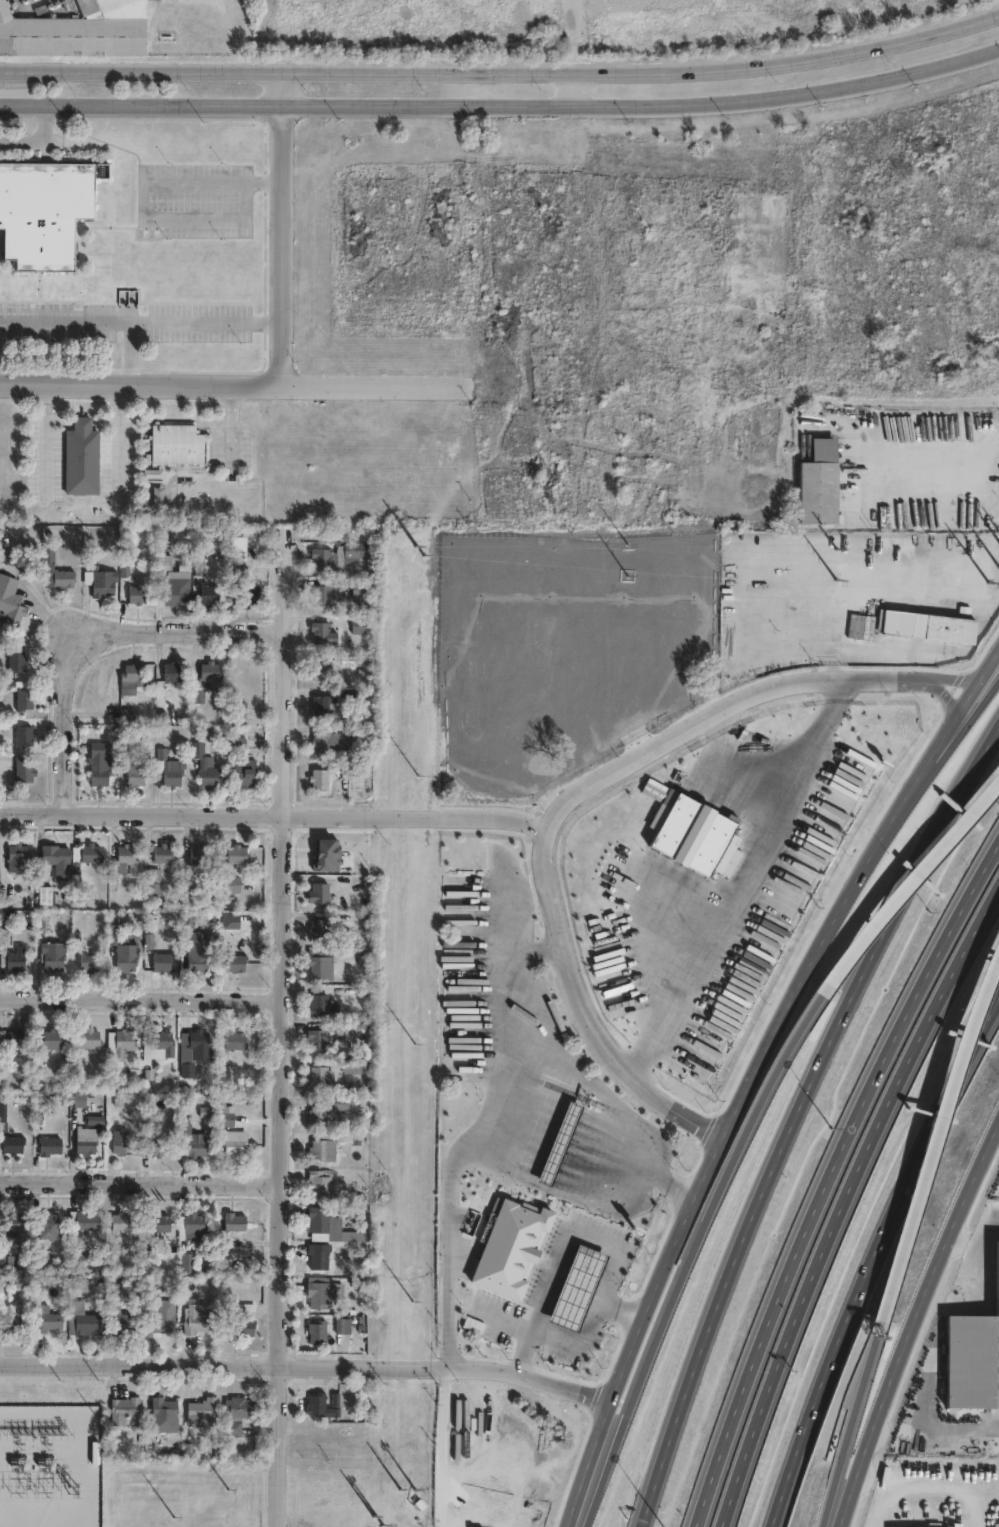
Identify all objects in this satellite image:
building: (77, 29)
road: (502, 73)
road: (579, 88)
road: (642, 100)
road: (140, 102)
road: (40, 139)
building: (43, 211)
road: (280, 228)
building: (123, 260)
road: (139, 323)
road: (129, 354)
road: (140, 385)
road: (372, 386)
building: (179, 440)
road: (941, 452)
building: (83, 453)
building: (818, 483)
building: (161, 495)
building: (353, 547)
power tower: (419, 550)
building: (325, 556)
building: (165, 557)
building: (239, 565)
building: (65, 573)
building: (100, 574)
power tower: (646, 577)
power tower: (850, 578)
building: (178, 584)
building: (361, 585)
building: (211, 589)
building: (139, 590)
building: (247, 590)
building: (323, 592)
building: (12, 598)
building: (922, 621)
building: (361, 623)
building: (854, 624)
building: (324, 630)
road: (98, 641)
road: (997, 645)
building: (18, 654)
building: (174, 668)
building: (323, 668)
building: (133, 671)
building: (209, 675)
road: (952, 678)
building: (22, 688)
road: (942, 693)
building: (321, 703)
building: (240, 705)
building: (25, 732)
building: (242, 739)
building: (334, 740)
building: (98, 762)
building: (131, 762)
building: (204, 763)
building: (169, 765)
building: (23, 768)
building: (245, 769)
building: (321, 776)
power tower: (415, 785)
building: (851, 786)
building: (915, 795)
road: (487, 816)
road: (938, 848)
building: (18, 851)
building: (91, 852)
building: (164, 852)
building: (200, 853)
building: (238, 853)
building: (57, 859)
building: (123, 859)
road: (745, 878)
building: (153, 880)
road: (911, 881)
building: (231, 883)
road: (848, 883)
building: (45, 887)
building: (323, 893)
building: (189, 920)
building: (43, 922)
building: (320, 928)
building: (13, 951)
building: (124, 951)
road: (537, 951)
building: (54, 953)
building: (199, 956)
building: (89, 959)
building: (163, 961)
building: (325, 961)
building: (236, 962)
road: (140, 1001)
building: (323, 1005)
road: (584, 1009)
power tower: (414, 1030)
building: (17, 1038)
building: (317, 1038)
building: (52, 1039)
building: (236, 1039)
road: (279, 1039)
building: (125, 1040)
building: (164, 1041)
building: (84, 1042)
building: (195, 1050)
building: (357, 1069)
building: (320, 1075)
building: (79, 1098)
building: (350, 1104)
building: (226, 1114)
road: (619, 1114)
building: (319, 1115)
building: (3, 1119)
road: (506, 1124)
building: (208, 1125)
building: (86, 1140)
building: (121, 1142)
building: (194, 1143)
building: (558, 1143)
gas station: (558, 1143)
building: (12, 1144)
road: (937, 1145)
building: (48, 1146)
building: (158, 1146)
building: (234, 1147)
building: (326, 1150)
road: (826, 1178)
road: (139, 1182)
building: (322, 1182)
road: (763, 1200)
road: (844, 1204)
building: (81, 1222)
building: (122, 1222)
building: (195, 1222)
building: (235, 1222)
building: (13, 1223)
building: (155, 1223)
building: (50, 1224)
building: (325, 1225)
road: (568, 1236)
building: (511, 1248)
road: (977, 1248)
road: (689, 1249)
building: (321, 1255)
building: (7, 1261)
building: (188, 1262)
road: (874, 1262)
power tower: (412, 1273)
building: (577, 1288)
gas station: (577, 1288)
building: (325, 1294)
road: (911, 1317)
building: (161, 1318)
building: (47, 1319)
building: (243, 1319)
building: (13, 1320)
building: (197, 1320)
building: (85, 1322)
building: (122, 1323)
building: (346, 1326)
road: (633, 1327)
building: (319, 1332)
road: (579, 1343)
building: (973, 1360)
road: (304, 1365)
building: (323, 1405)
building: (204, 1409)
building: (124, 1410)
building: (237, 1414)
building: (164, 1415)
road: (850, 1429)
building: (993, 1442)
road: (443, 1447)
building: (543, 1475)
road: (936, 1484)
power tower: (406, 1486)
power tower: (75, 1487)
power tower: (226, 1488)
road: (650, 1491)
road: (882, 1504)
power tower: (172, 1516)
power tower: (377, 1519)
building: (934, 1523)

